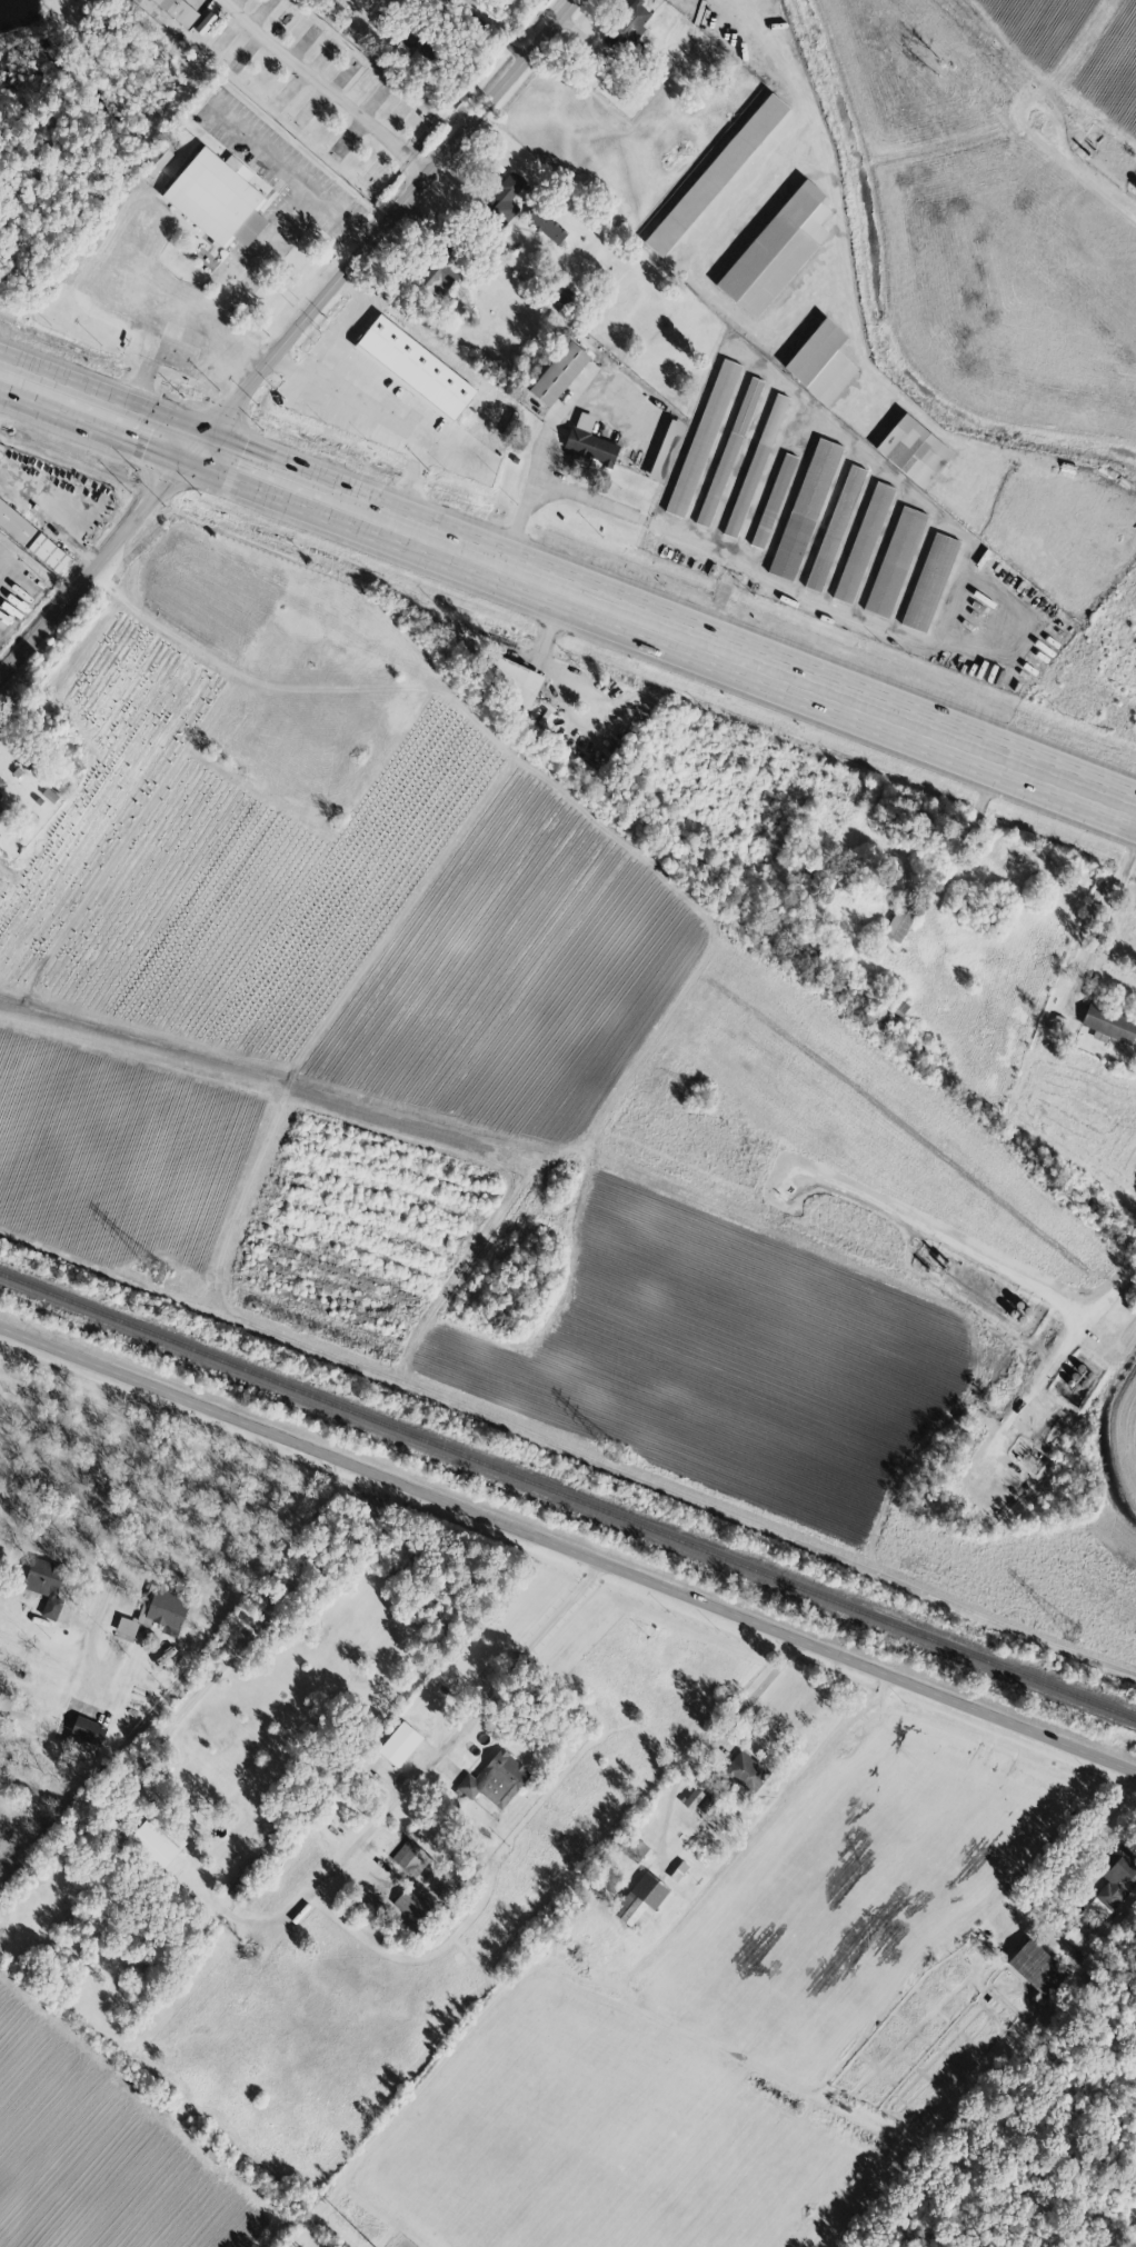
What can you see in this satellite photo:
building: (138, 0)
building: (338, 3)
building: (178, 10)
road: (470, 16)
building: (628, 21)
building: (205, 22)
road: (326, 90)
road: (265, 146)
building: (156, 159)
building: (715, 174)
road: (1092, 187)
building: (506, 191)
building: (217, 198)
building: (546, 224)
building: (776, 250)
road: (262, 258)
road: (855, 324)
road: (345, 328)
road: (291, 343)
building: (820, 362)
building: (415, 368)
building: (558, 373)
road: (387, 419)
building: (701, 440)
building: (588, 441)
traffic signals: (206, 448)
building: (666, 450)
building: (913, 450)
building: (728, 451)
building: (755, 465)
road: (541, 466)
building: (773, 500)
road: (56, 509)
building: (805, 509)
building: (16, 523)
road: (647, 525)
building: (834, 528)
building: (863, 541)
building: (48, 552)
building: (894, 561)
building: (929, 582)
road: (568, 587)
road: (560, 688)
building: (1, 782)
road: (1105, 916)
building: (898, 923)
building: (1108, 1023)
road: (950, 1240)
power tower: (160, 1270)
road: (1065, 1348)
power tower: (614, 1454)
railway: (568, 1496)
road: (129, 1530)
road: (568, 1547)
building: (44, 1585)
building: (167, 1610)
building: (126, 1627)
power tower: (1069, 1635)
road: (248, 1638)
road: (758, 1688)
road: (481, 1715)
building: (86, 1735)
building: (403, 1739)
building: (745, 1771)
building: (495, 1778)
road: (1100, 1821)
building: (155, 1842)
building: (630, 1846)
building: (412, 1859)
building: (1115, 1879)
building: (240, 1884)
building: (640, 1899)
building: (1072, 1936)
building: (1036, 1967)

